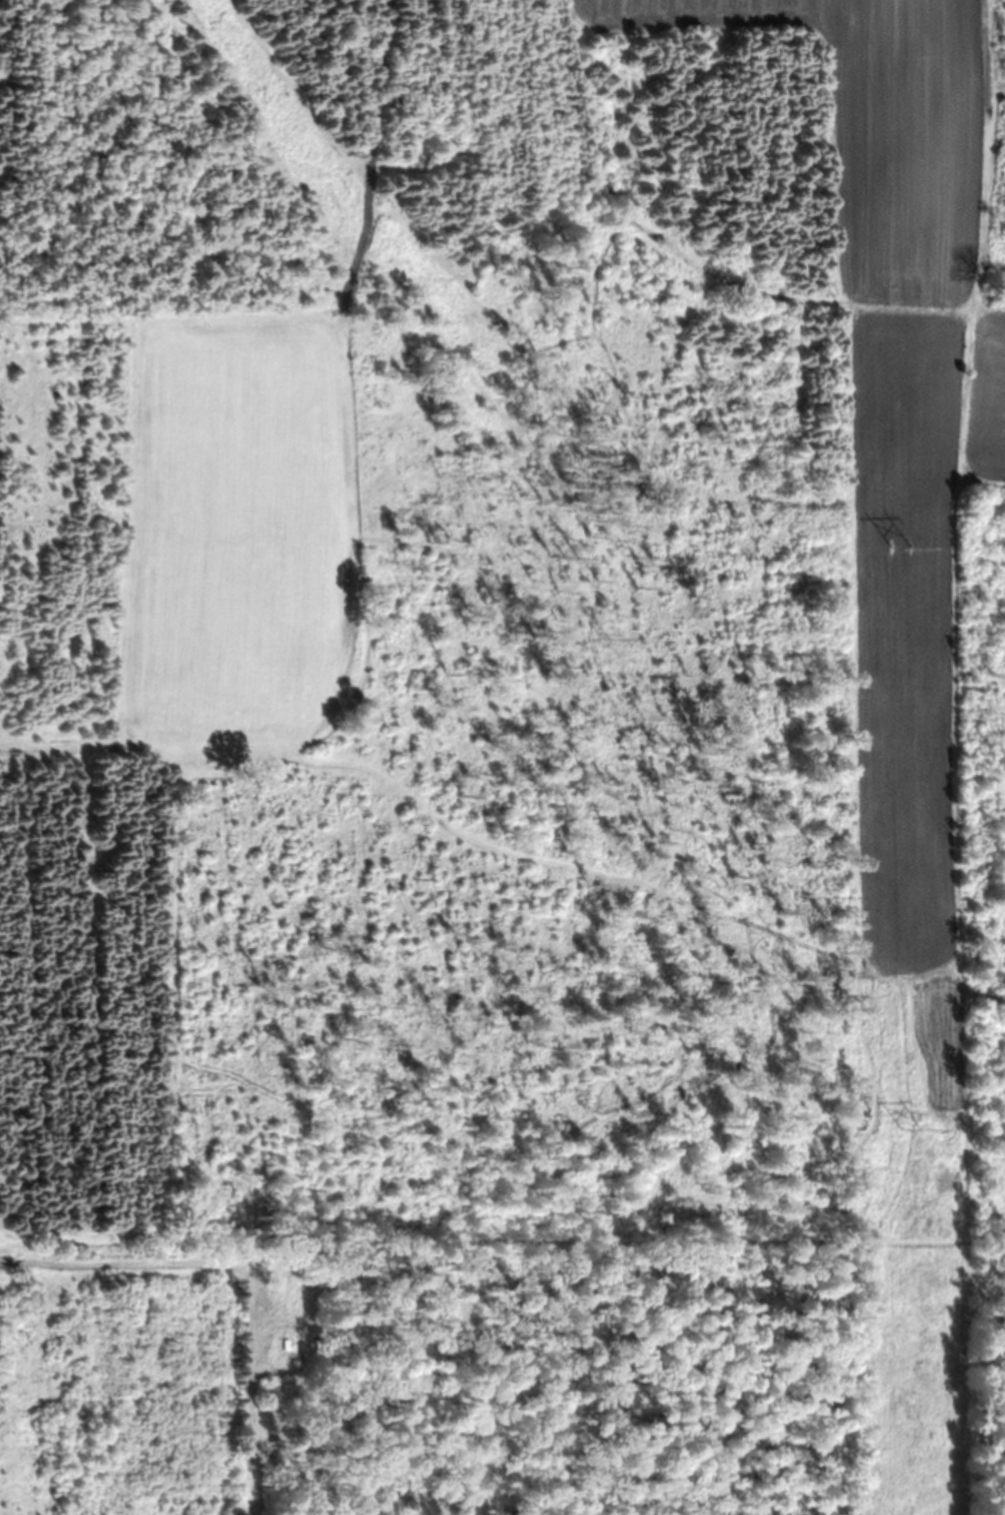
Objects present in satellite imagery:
power tower: (900, 547)
power tower: (909, 1130)

